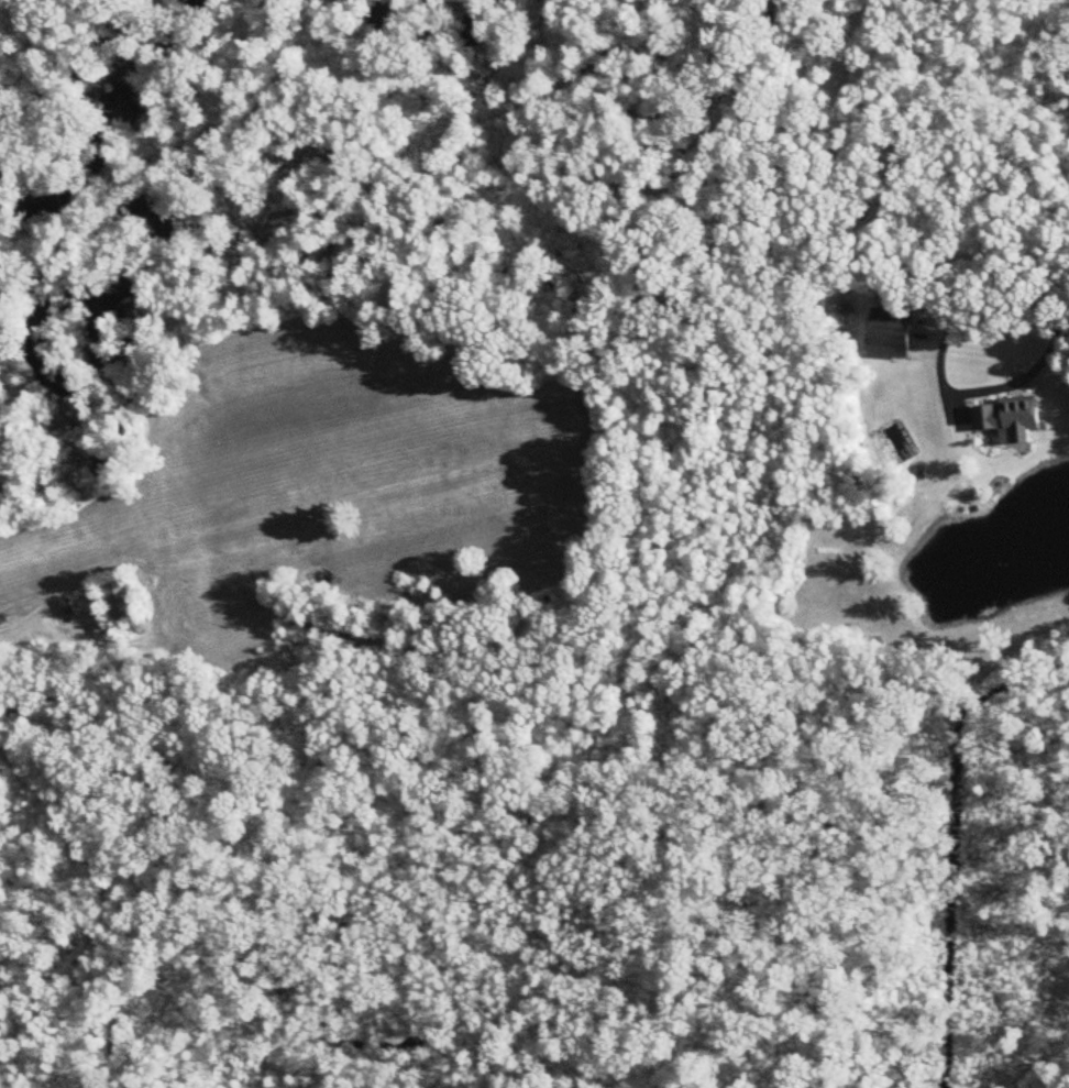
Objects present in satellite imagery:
river: (441, 33)
river: (7, 43)
river: (121, 145)
road: (1067, 328)
road: (943, 373)
building: (1011, 417)
road: (409, 428)
building: (119, 601)

